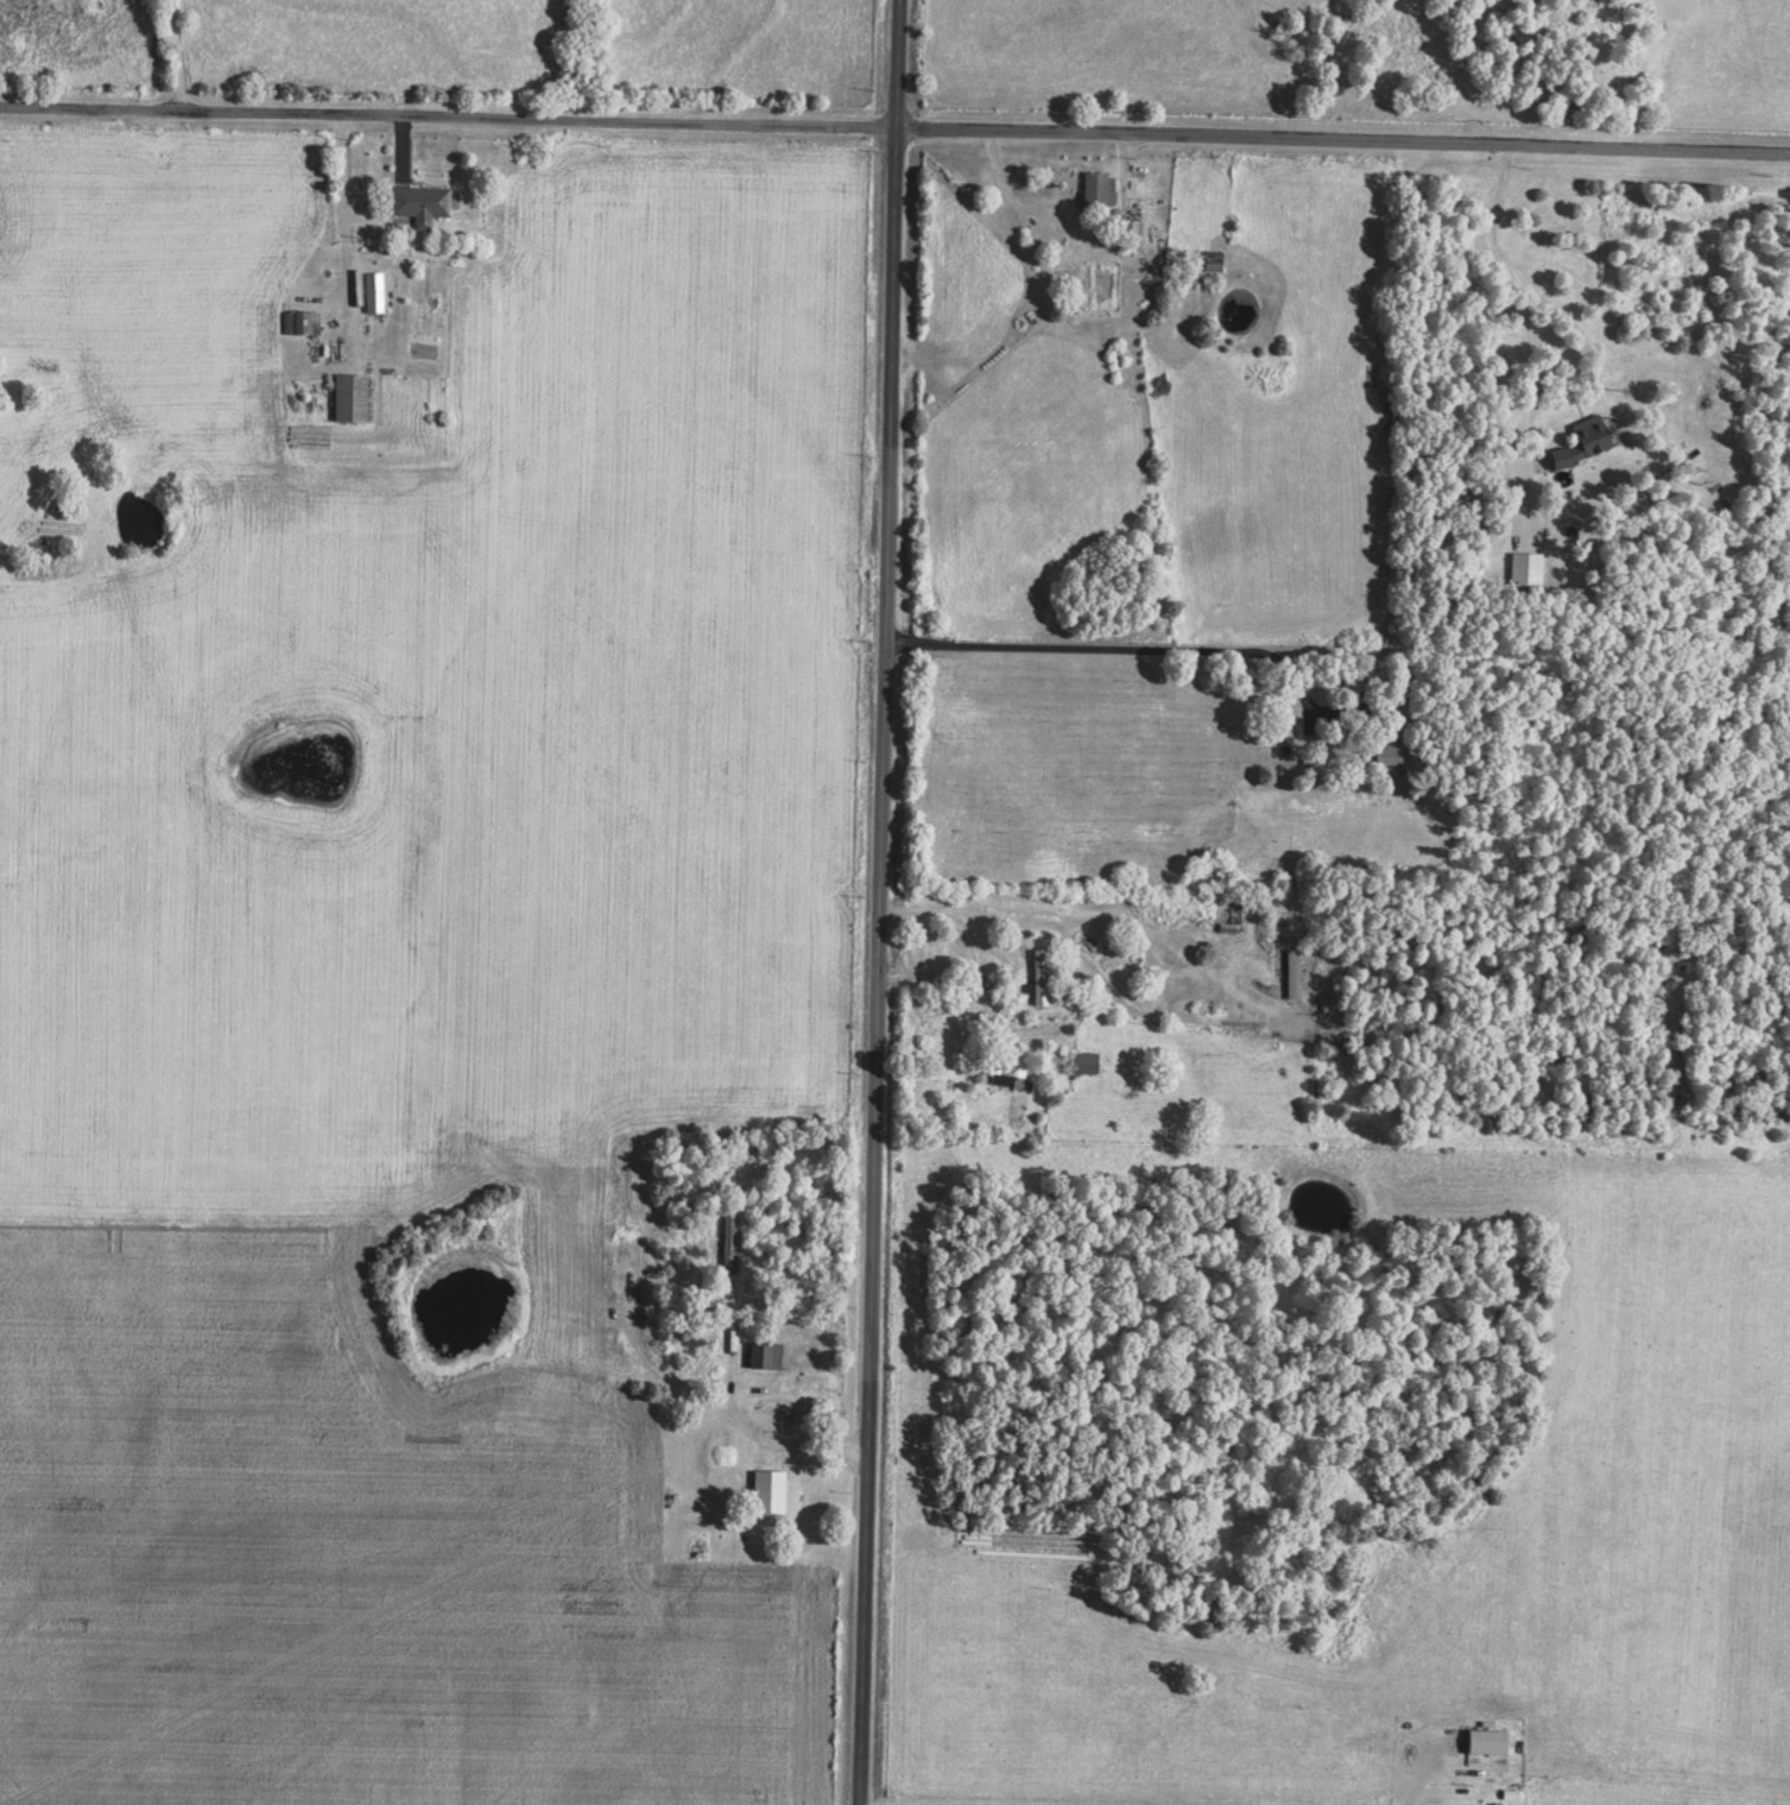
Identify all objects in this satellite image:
road: (173, 56)
road: (894, 130)
building: (1096, 189)
building: (419, 203)
building: (1122, 229)
building: (372, 292)
road: (1514, 298)
building: (299, 322)
building: (348, 399)
building: (1582, 443)
building: (1525, 568)
road: (1121, 648)
building: (1385, 746)
road: (877, 902)
road: (1081, 953)
building: (1291, 972)
building: (1038, 976)
building: (1083, 1061)
building: (1001, 1073)
building: (764, 1355)
building: (767, 1491)
building: (1488, 1742)

